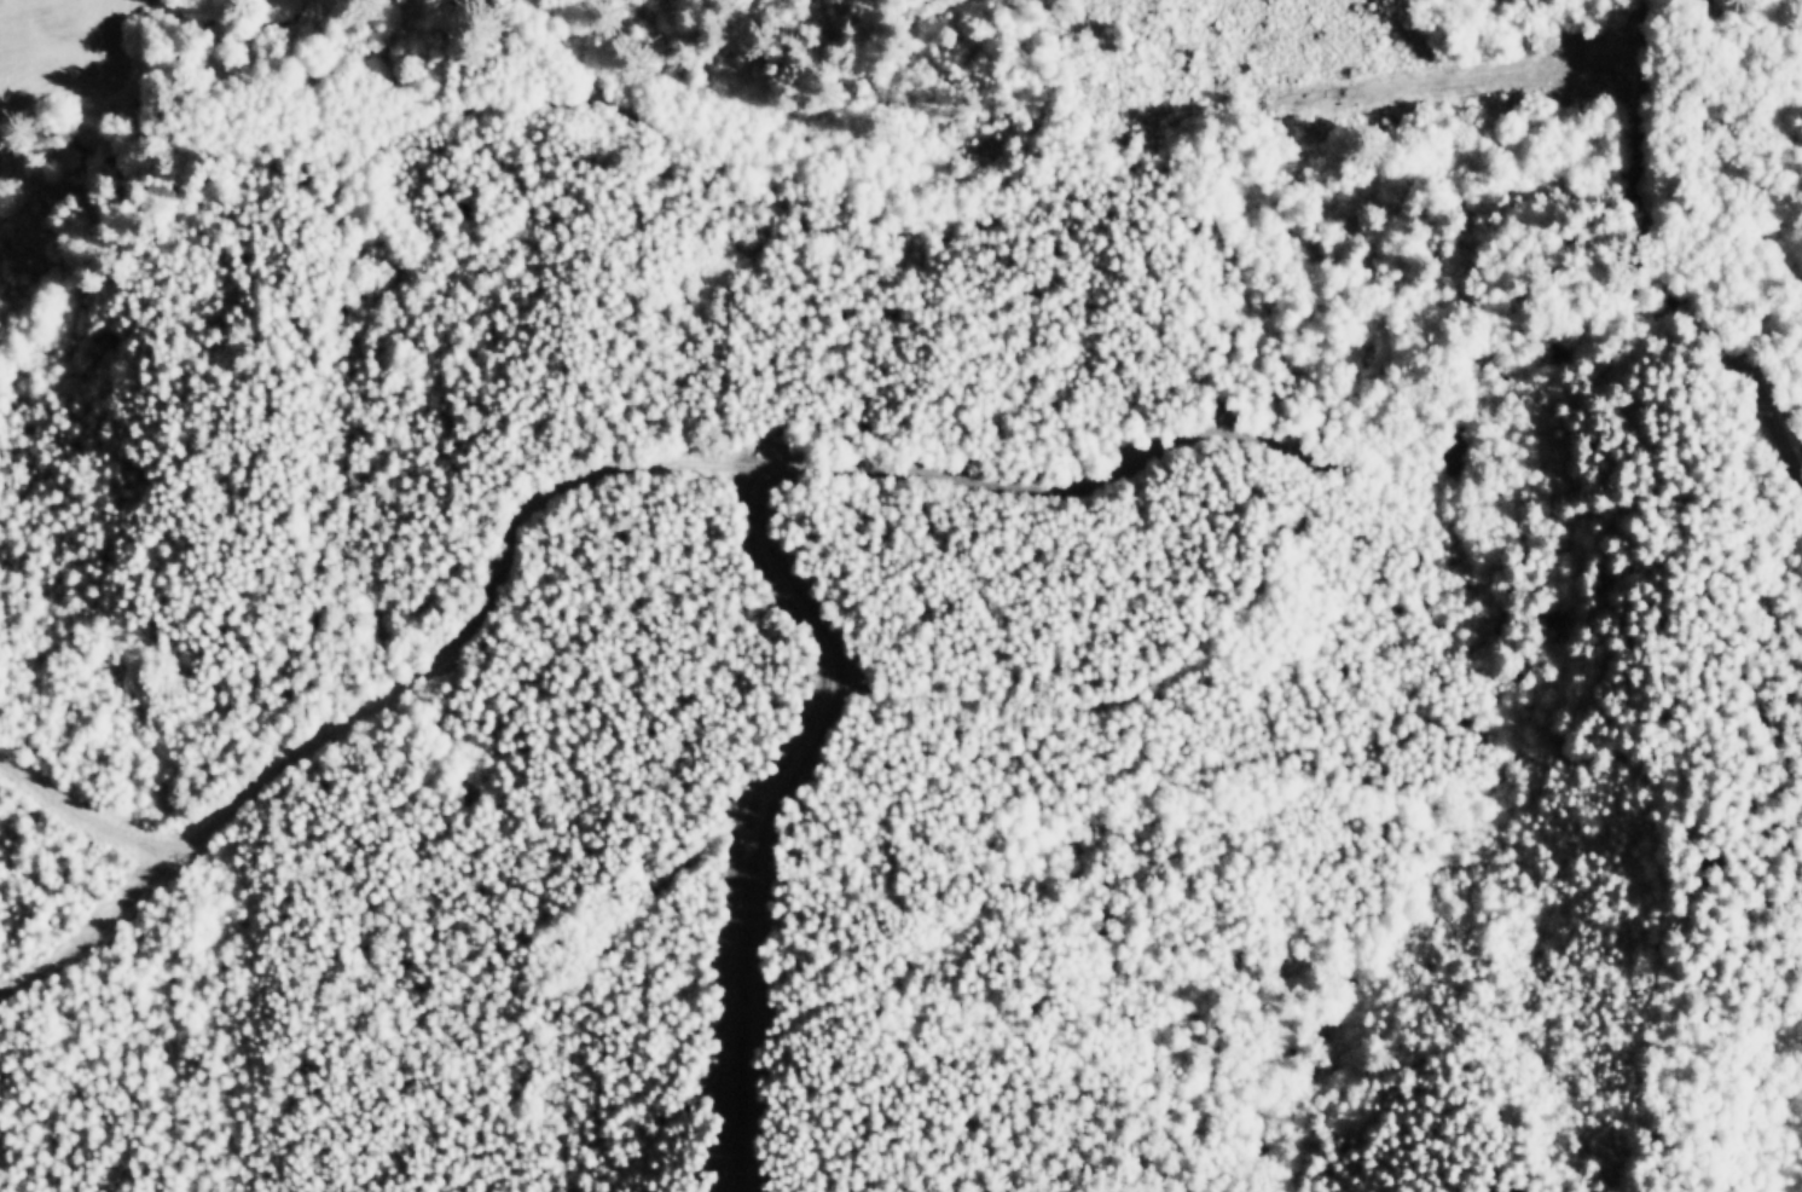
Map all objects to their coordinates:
crop: (69, 116)
road: (1658, 243)

